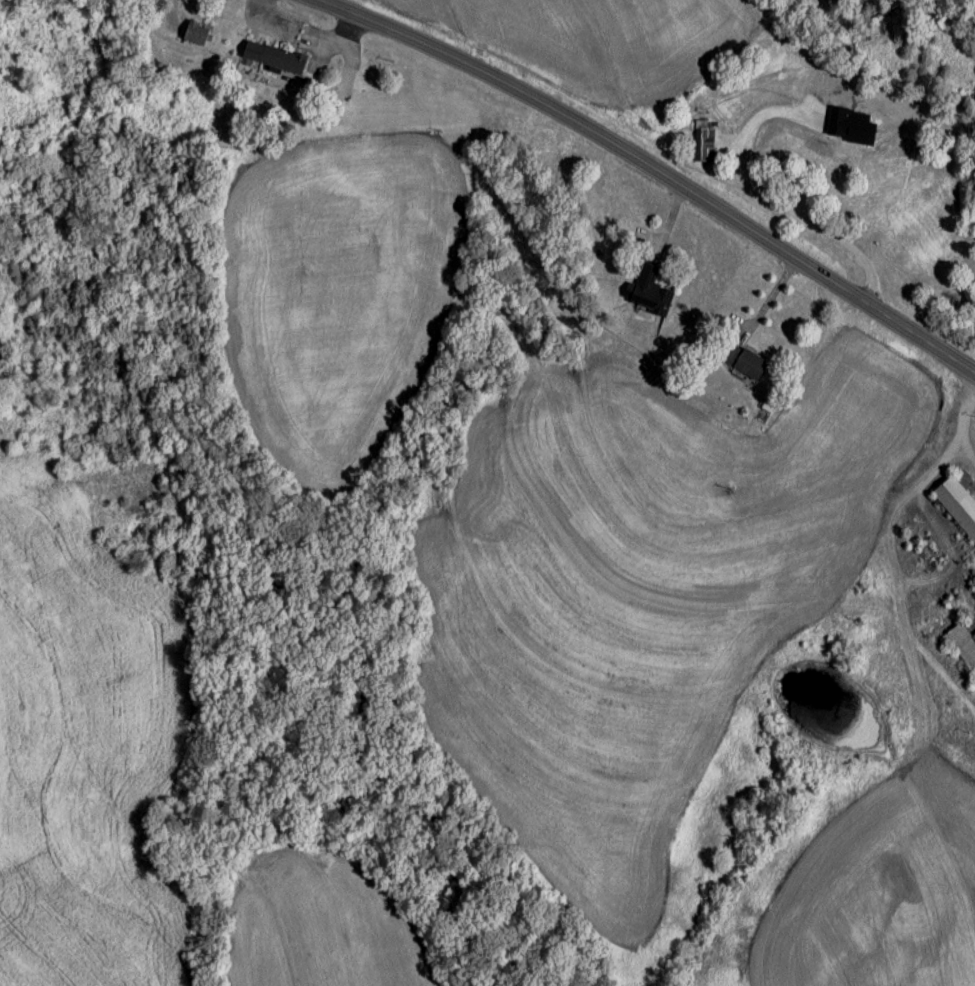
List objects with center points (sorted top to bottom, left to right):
building: (194, 35)
building: (280, 61)
building: (705, 143)
road: (620, 173)
building: (648, 293)
building: (744, 362)
road: (964, 417)
building: (956, 505)
building: (973, 580)
building: (962, 645)

